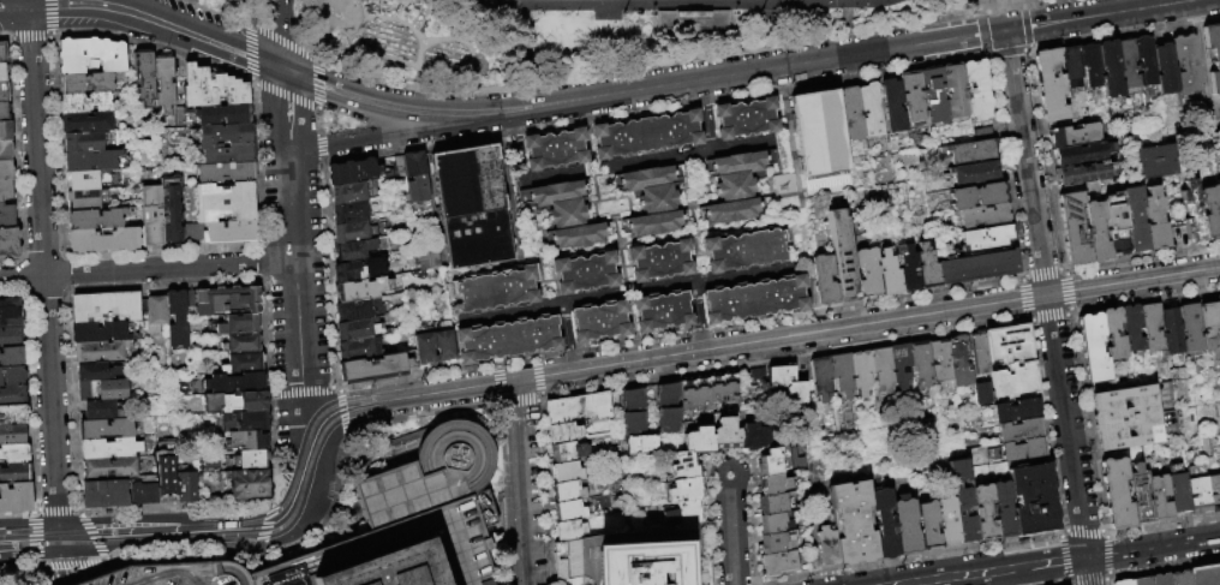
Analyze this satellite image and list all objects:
road: (988, 0)
road: (690, 1)
road: (976, 2)
road: (1037, 2)
road: (190, 4)
road: (201, 4)
road: (506, 4)
stadium: (672, 4)
road: (844, 4)
road: (998, 4)
road: (989, 5)
road: (28, 8)
road: (995, 8)
road: (48, 16)
road: (225, 16)
road: (522, 16)
road: (690, 17)
building: (690, 19)
road: (250, 25)
road: (1023, 26)
road: (145, 30)
road: (205, 30)
road: (844, 30)
road: (279, 31)
park: (546, 31)
road: (1124, 31)
road: (335, 32)
road: (980, 34)
road: (5, 37)
road: (29, 37)
road: (281, 41)
road: (250, 47)
road: (753, 48)
road: (1025, 49)
road: (880, 50)
building: (2, 52)
road: (689, 53)
road: (1005, 53)
building: (1212, 53)
building: (90, 55)
road: (986, 55)
building: (1146, 60)
building: (1128, 62)
building: (1090, 64)
building: (1186, 64)
building: (1070, 65)
building: (1110, 68)
building: (1165, 68)
building: (2, 72)
road: (250, 72)
road: (528, 76)
building: (144, 77)
road: (250, 79)
building: (86, 83)
building: (163, 83)
road: (253, 84)
road: (317, 85)
building: (1051, 85)
building: (211, 88)
road: (417, 89)
building: (977, 89)
building: (955, 90)
building: (4, 91)
building: (934, 95)
road: (286, 96)
building: (913, 99)
building: (85, 102)
road: (423, 105)
building: (893, 105)
road: (652, 108)
building: (871, 108)
building: (4, 111)
road: (376, 112)
building: (851, 113)
building: (222, 114)
road: (520, 115)
road: (705, 115)
road: (317, 120)
building: (748, 120)
building: (86, 121)
road: (365, 123)
building: (5, 131)
building: (818, 132)
building: (225, 133)
building: (981, 133)
building: (1074, 135)
road: (379, 136)
building: (648, 136)
building: (85, 141)
road: (319, 145)
building: (5, 150)
building: (557, 150)
building: (969, 150)
building: (227, 153)
building: (1082, 154)
road: (16, 157)
building: (91, 160)
road: (1042, 160)
building: (1155, 160)
building: (742, 162)
road: (616, 165)
road: (1004, 166)
building: (5, 169)
building: (352, 172)
building: (973, 172)
building: (225, 173)
building: (1082, 173)
building: (414, 177)
building: (651, 178)
building: (86, 180)
building: (741, 185)
building: (1219, 189)
building: (6, 190)
building: (560, 191)
building: (348, 192)
building: (976, 195)
building: (86, 199)
building: (659, 199)
building: (223, 202)
building: (470, 205)
building: (169, 209)
building: (1210, 210)
building: (351, 211)
building: (734, 211)
building: (1192, 211)
building: (567, 213)
building: (6, 215)
building: (151, 215)
building: (983, 215)
building: (95, 219)
building: (1135, 219)
building: (1154, 219)
building: (1116, 222)
building: (656, 223)
building: (1083, 229)
building: (220, 232)
building: (352, 232)
building: (579, 235)
building: (986, 237)
building: (103, 240)
building: (8, 241)
road: (240, 245)
road: (261, 247)
building: (352, 251)
building: (746, 251)
road: (294, 252)
road: (59, 253)
building: (843, 253)
road: (23, 255)
road: (41, 255)
road: (64, 257)
road: (1142, 258)
building: (425, 259)
road: (16, 262)
building: (662, 262)
road: (261, 263)
building: (926, 267)
building: (976, 267)
road: (148, 269)
building: (358, 270)
building: (868, 270)
building: (908, 270)
road: (1061, 270)
road: (64, 273)
building: (887, 273)
road: (1039, 273)
road: (327, 274)
building: (587, 274)
road: (17, 276)
road: (43, 276)
road: (1022, 276)
road: (1021, 277)
road: (261, 279)
building: (824, 280)
road: (66, 288)
road: (107, 288)
building: (359, 289)
road: (18, 291)
building: (498, 291)
road: (1067, 291)
road: (621, 293)
road: (41, 294)
road: (60, 294)
road: (25, 296)
road: (1024, 297)
road: (1144, 298)
building: (755, 299)
building: (222, 300)
building: (103, 308)
building: (142, 308)
road: (1047, 308)
building: (1216, 308)
building: (360, 310)
building: (663, 311)
building: (10, 312)
road: (1067, 312)
building: (155, 314)
road: (698, 316)
road: (1027, 317)
road: (1047, 317)
building: (175, 318)
road: (1029, 321)
building: (600, 322)
building: (237, 324)
building: (1188, 326)
building: (1129, 327)
building: (1208, 327)
building: (1149, 328)
building: (357, 330)
road: (678, 330)
building: (1168, 330)
building: (98, 332)
building: (1111, 333)
railway: (764, 335)
road: (566, 336)
building: (10, 338)
building: (509, 339)
road: (760, 340)
building: (240, 344)
railway: (769, 344)
building: (443, 346)
building: (1090, 347)
building: (358, 350)
building: (425, 350)
building: (98, 351)
building: (980, 352)
building: (11, 357)
railway: (656, 358)
building: (412, 359)
road: (785, 360)
building: (920, 360)
building: (940, 360)
building: (959, 360)
building: (1011, 362)
building: (241, 364)
building: (901, 365)
building: (372, 368)
building: (883, 370)
building: (861, 371)
building: (96, 372)
building: (842, 374)
building: (12, 375)
road: (540, 376)
building: (821, 378)
road: (500, 381)
building: (233, 383)
building: (788, 383)
road: (334, 387)
road: (28, 389)
road: (300, 389)
road: (337, 389)
building: (101, 390)
road: (269, 390)
building: (708, 392)
building: (982, 393)
building: (12, 395)
road: (522, 400)
building: (234, 402)
building: (578, 407)
building: (669, 407)
building: (100, 411)
building: (1017, 411)
road: (341, 412)
building: (635, 412)
building: (12, 414)
building: (1125, 417)
building: (244, 422)
road: (1084, 423)
road: (1045, 425)
building: (104, 429)
building: (723, 429)
building: (1021, 430)
building: (564, 431)
building: (12, 434)
road: (347, 435)
building: (750, 436)
building: (696, 438)
building: (249, 440)
building: (642, 444)
road: (270, 447)
building: (108, 448)
building: (566, 450)
road: (725, 450)
building: (1024, 450)
building: (13, 453)
building: (252, 459)
road: (358, 461)
road: (420, 461)
building: (778, 461)
building: (683, 465)
road: (377, 466)
building: (108, 467)
building: (165, 472)
building: (566, 472)
building: (13, 473)
road: (525, 482)
building: (247, 484)
building: (771, 484)
road: (298, 486)
building: (185, 488)
building: (1178, 489)
building: (683, 490)
building: (568, 491)
building: (1214, 491)
building: (1116, 493)
building: (102, 494)
building: (142, 495)
building: (1140, 495)
building: (1198, 495)
building: (1033, 497)
building: (14, 499)
building: (1159, 499)
building: (962, 501)
building: (775, 502)
road: (270, 505)
road: (175, 508)
road: (32, 509)
road: (54, 509)
road: (76, 509)
building: (1003, 509)
road: (330, 511)
building: (569, 511)
building: (419, 512)
building: (982, 512)
road: (16, 513)
building: (683, 513)
road: (80, 514)
building: (946, 520)
building: (775, 523)
building: (851, 523)
building: (883, 523)
road: (1162, 524)
road: (267, 525)
building: (904, 525)
railway: (187, 526)
building: (927, 526)
railway: (7, 529)
building: (569, 529)
road: (20, 530)
road: (730, 530)
road: (1082, 531)
road: (1060, 532)
road: (1104, 532)
road: (133, 533)
road: (32, 537)
road: (92, 537)
railway: (195, 537)
railway: (219, 539)
road: (235, 542)
parking lot: (449, 542)
building: (777, 542)
building: (826, 545)
road: (1153, 548)
road: (265, 549)
road: (458, 550)
road: (1105, 554)
road: (913, 556)
road: (1061, 557)
road: (106, 560)
road: (58, 561)
road: (1058, 562)
road: (35, 563)
road: (102, 563)
building: (636, 563)
building: (777, 563)
road: (68, 565)
road: (247, 565)
road: (17, 567)
road: (37, 567)
road: (1161, 567)
building: (389, 568)
road: (1107, 574)
building: (1204, 574)
building: (177, 575)
parking lot: (177, 575)
road: (959, 575)
building: (1179, 578)
building: (1160, 579)
road: (1106, 580)
road: (1066, 581)
road: (1090, 581)
building: (1142, 581)
building: (1122, 583)
road: (1058, 584)

